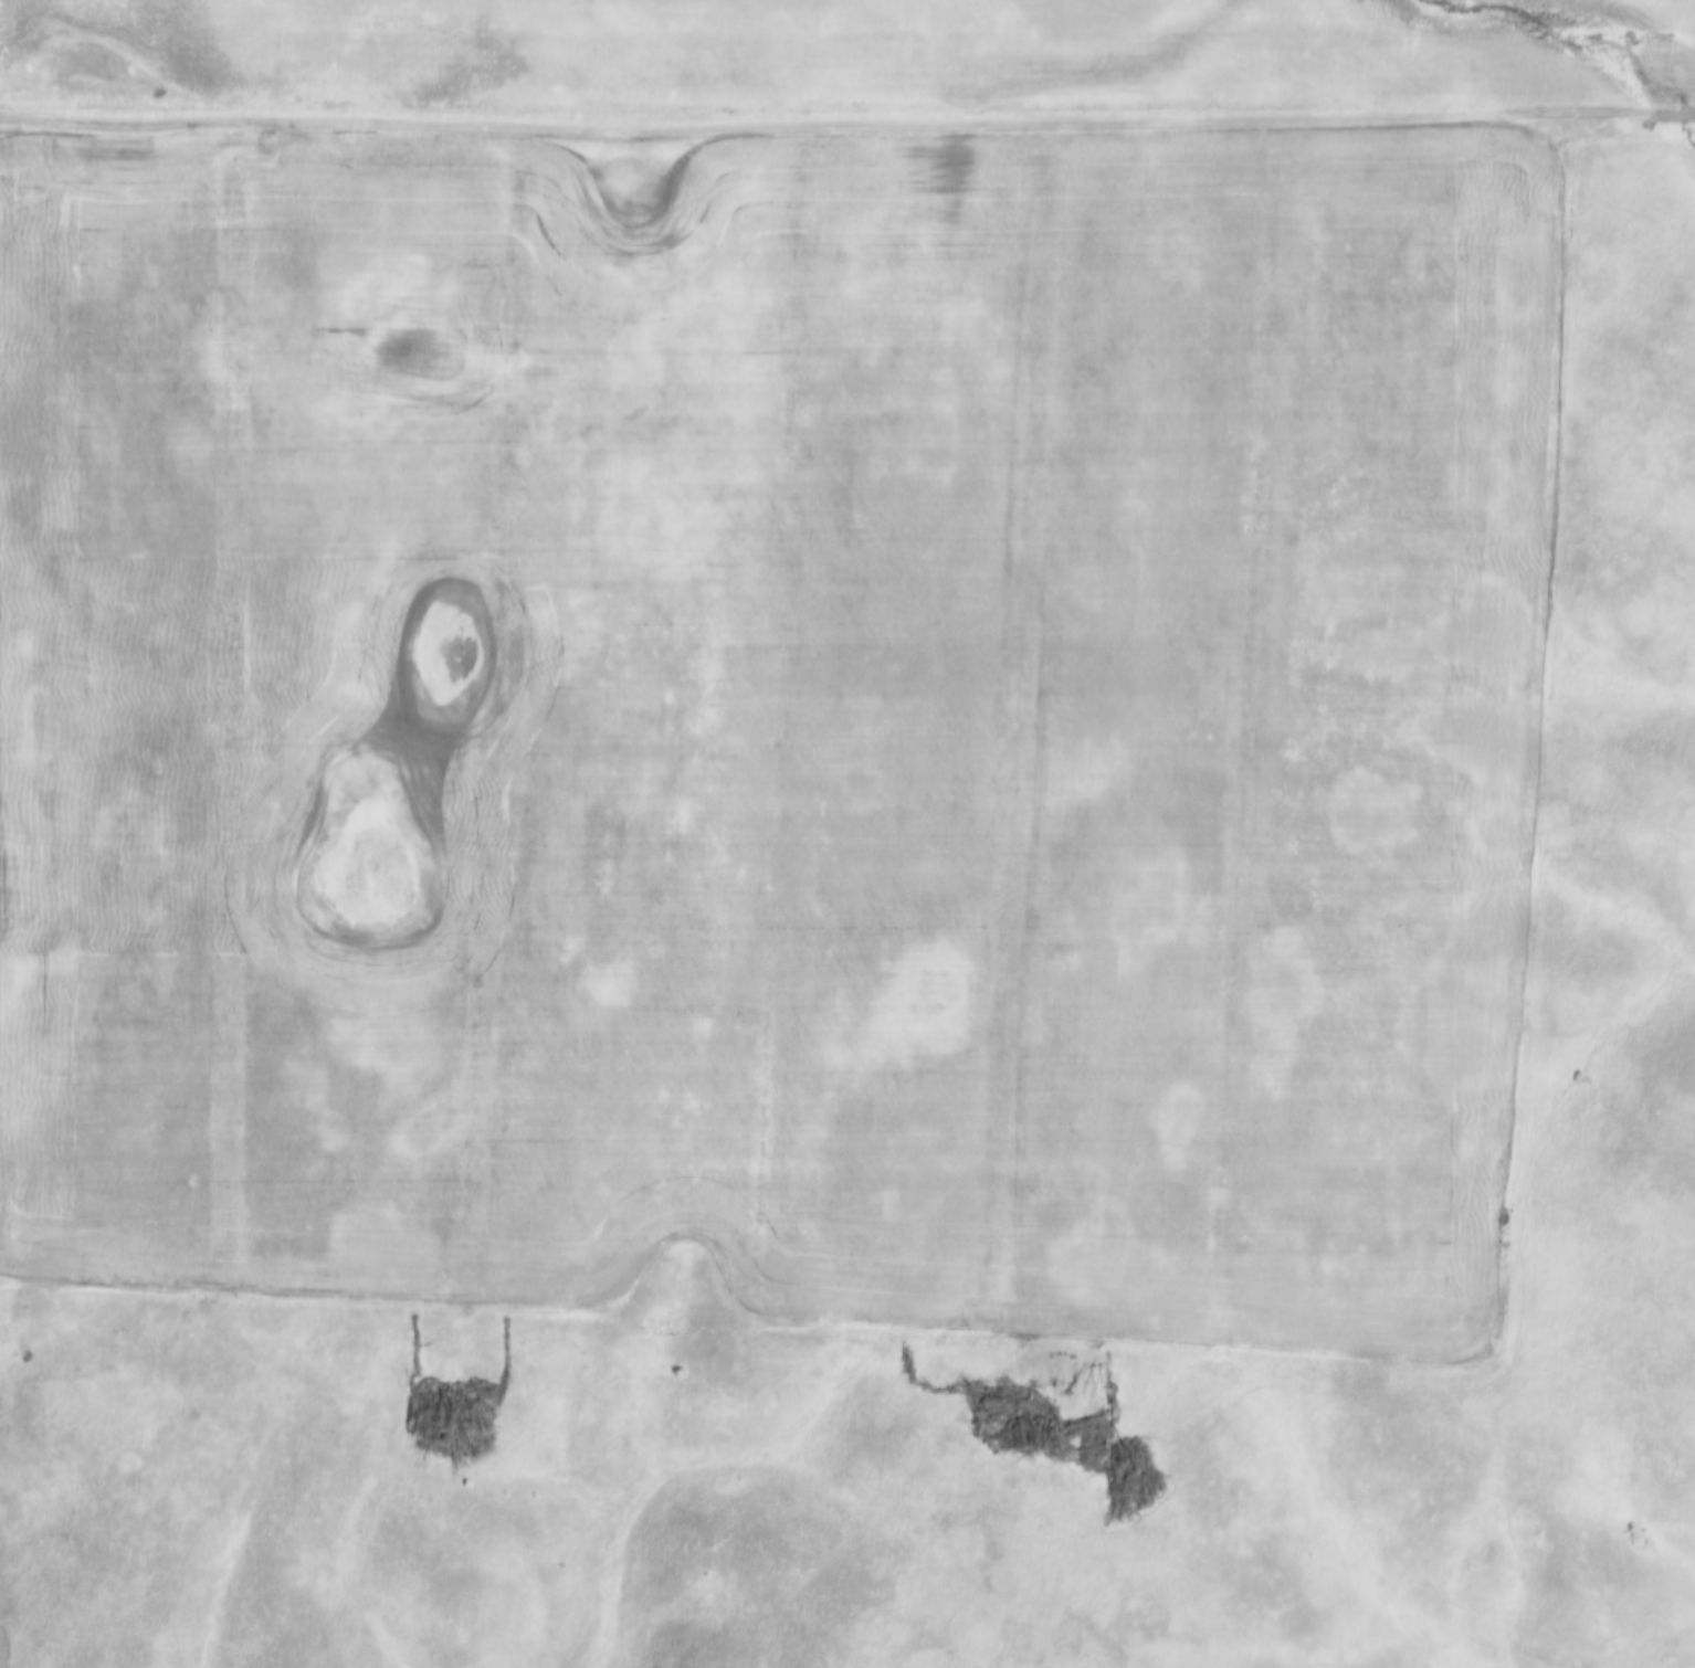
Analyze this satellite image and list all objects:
road: (847, 119)

